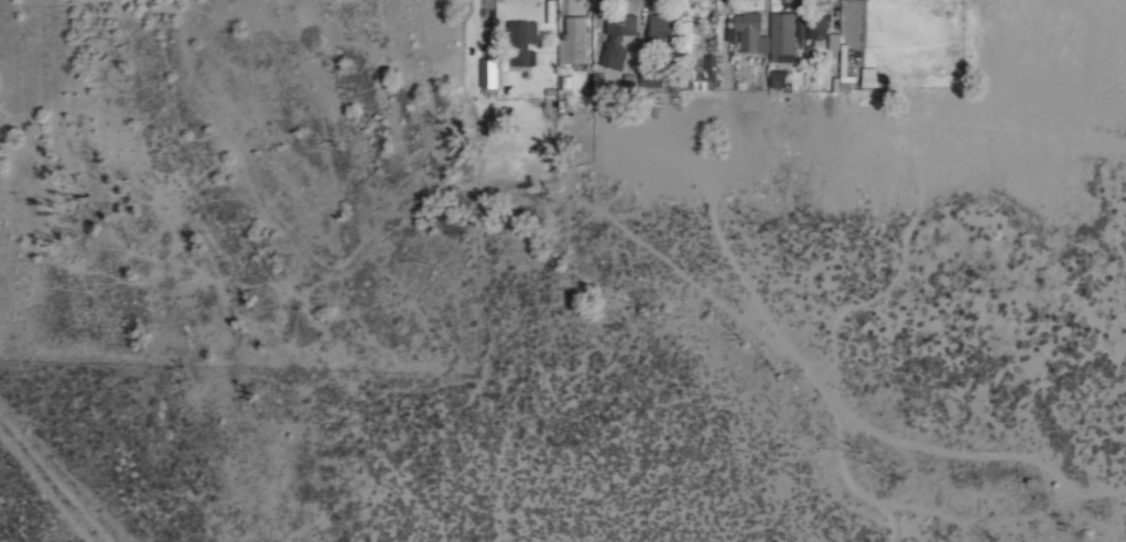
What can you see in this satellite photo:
building: (573, 9)
building: (549, 12)
building: (816, 22)
building: (799, 29)
building: (659, 30)
building: (748, 31)
building: (524, 32)
building: (728, 33)
building: (779, 35)
building: (616, 37)
building: (687, 40)
building: (572, 42)
building: (838, 55)
building: (526, 57)
building: (487, 75)
building: (706, 75)
building: (651, 76)
building: (777, 79)
building: (563, 86)
road: (761, 308)
road: (835, 322)
road: (47, 489)

